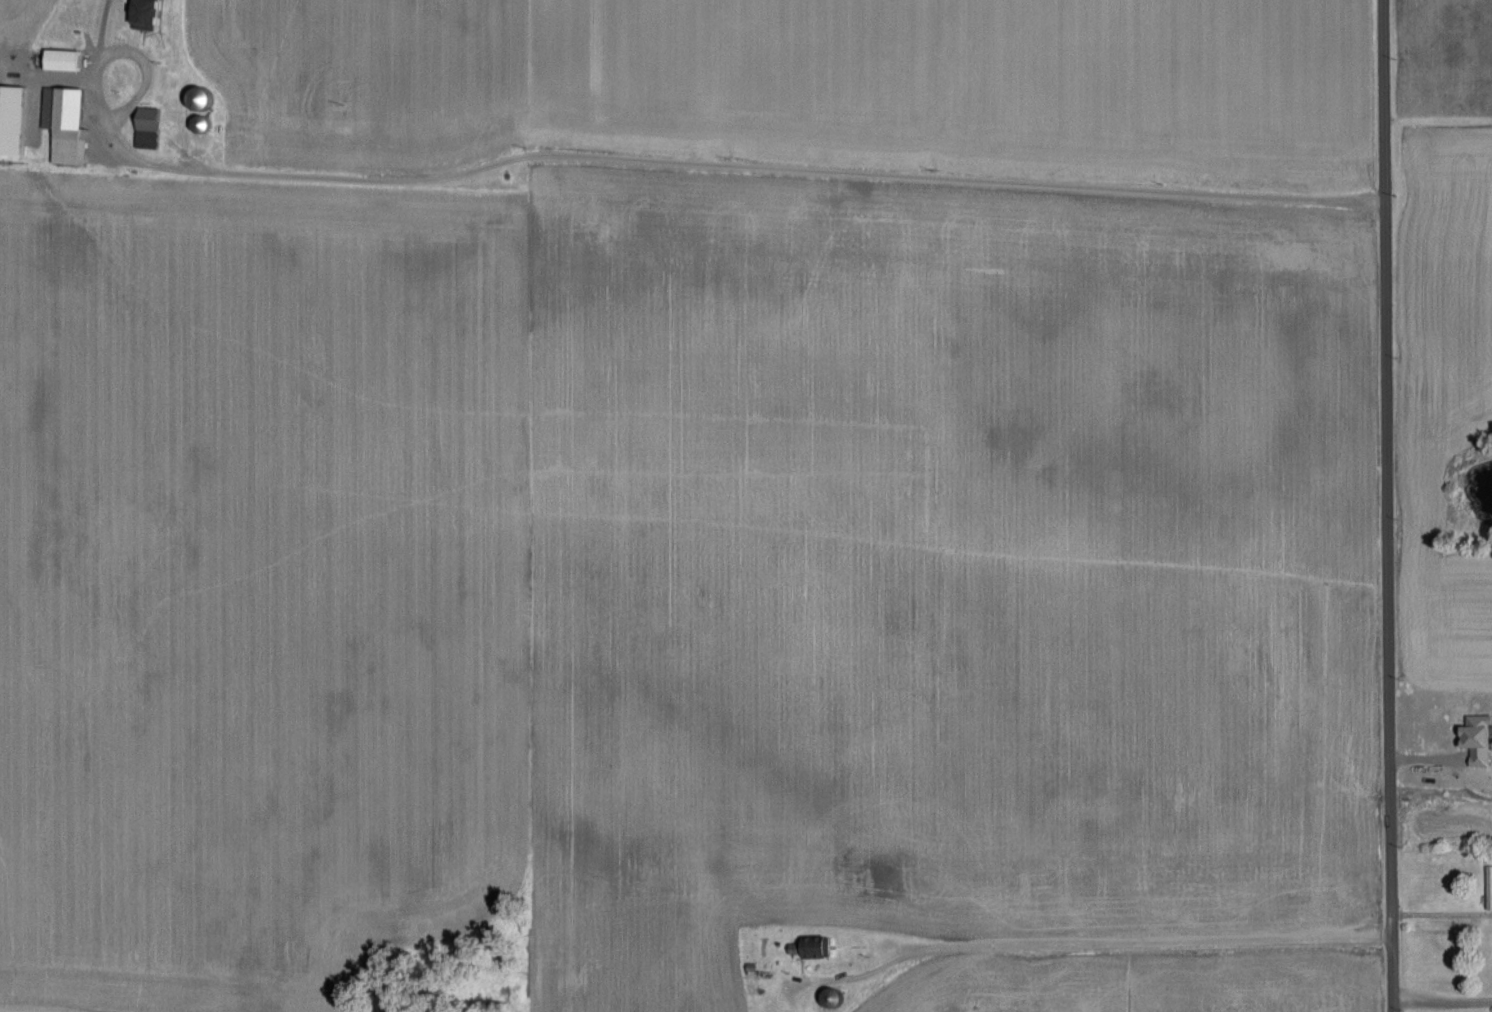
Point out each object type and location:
building: (149, 13)
building: (66, 57)
road: (99, 81)
building: (14, 117)
building: (69, 121)
building: (152, 124)
road: (732, 167)
road: (1386, 505)
building: (1480, 737)
building: (1490, 884)
road: (1101, 947)
building: (812, 948)
road: (1440, 1004)

